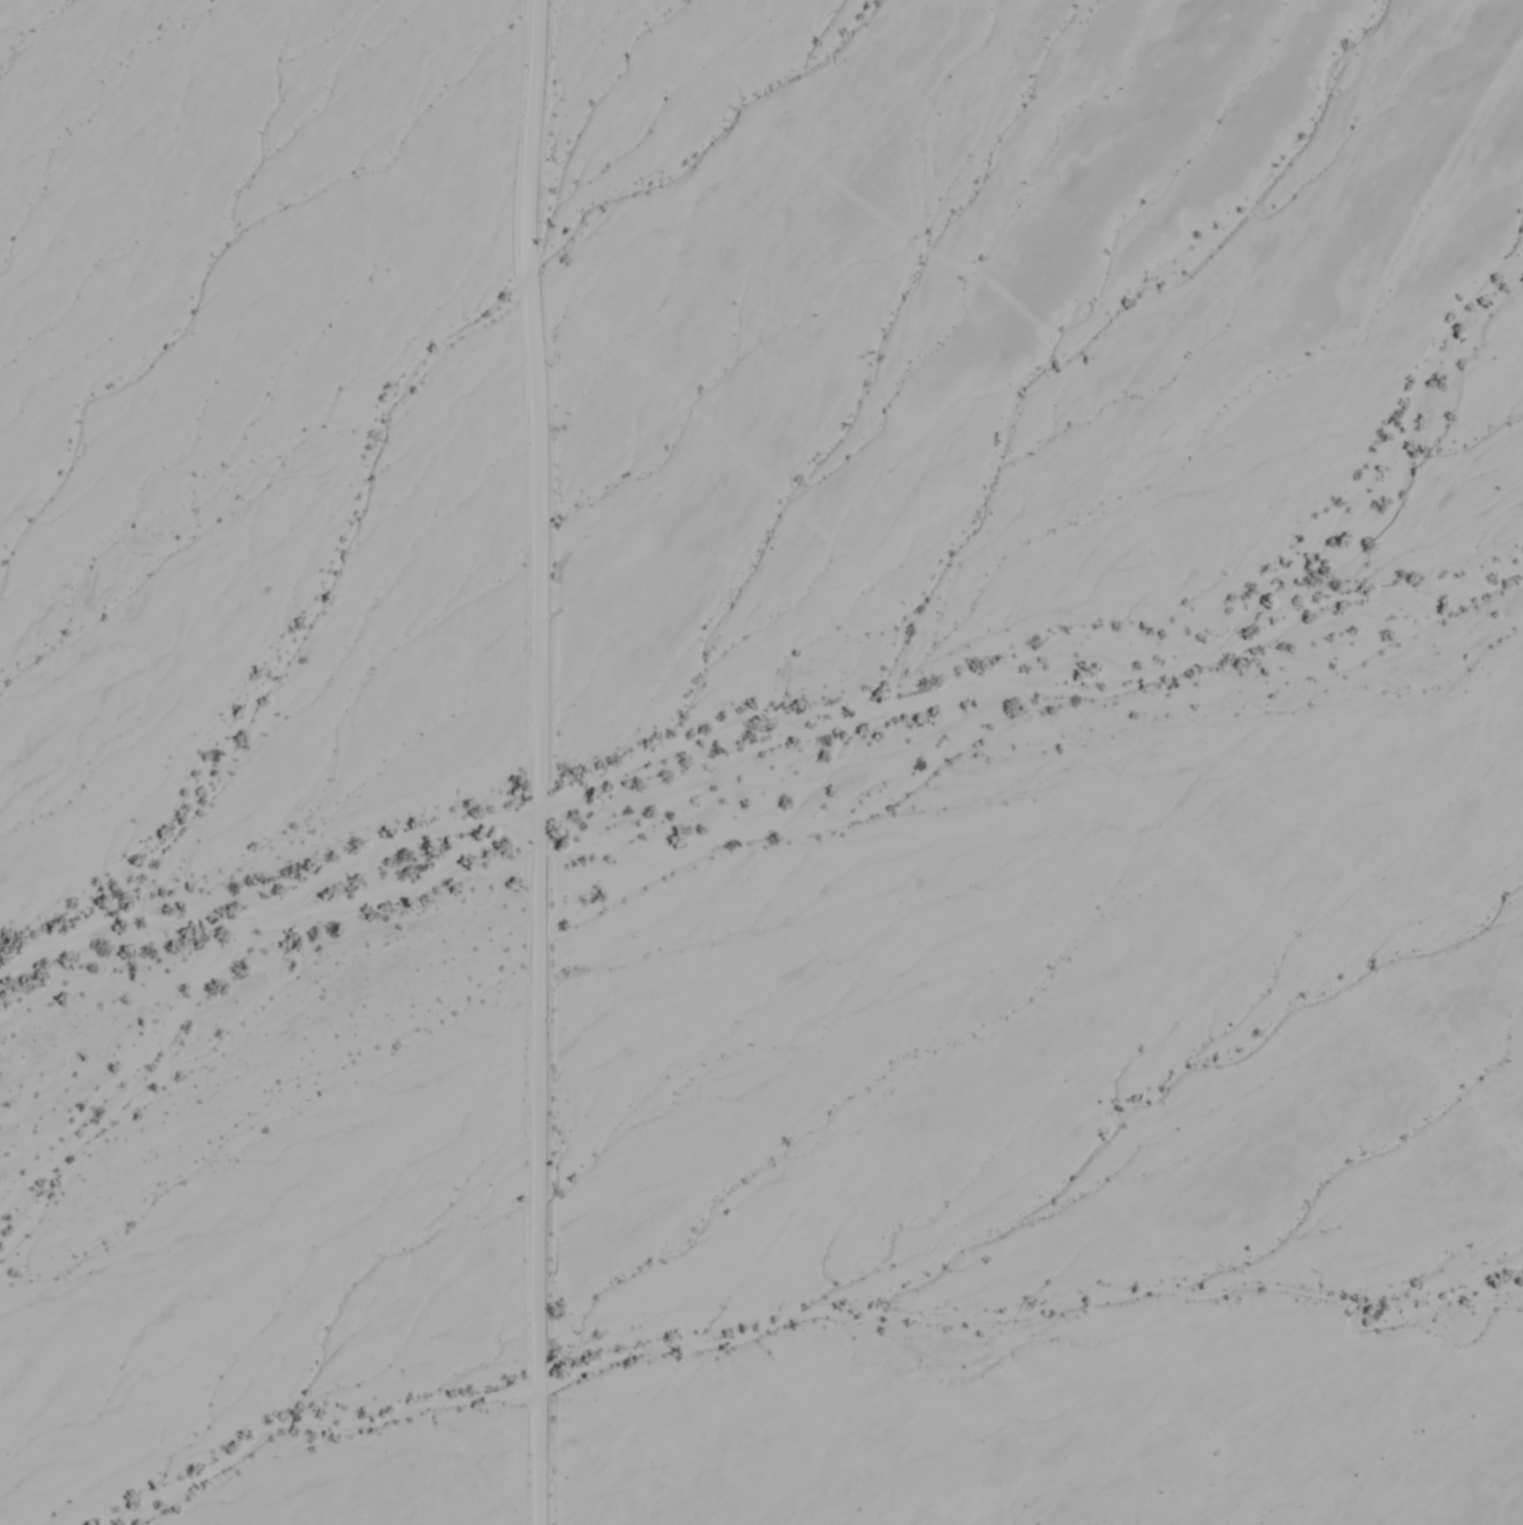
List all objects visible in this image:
road: (535, 762)

